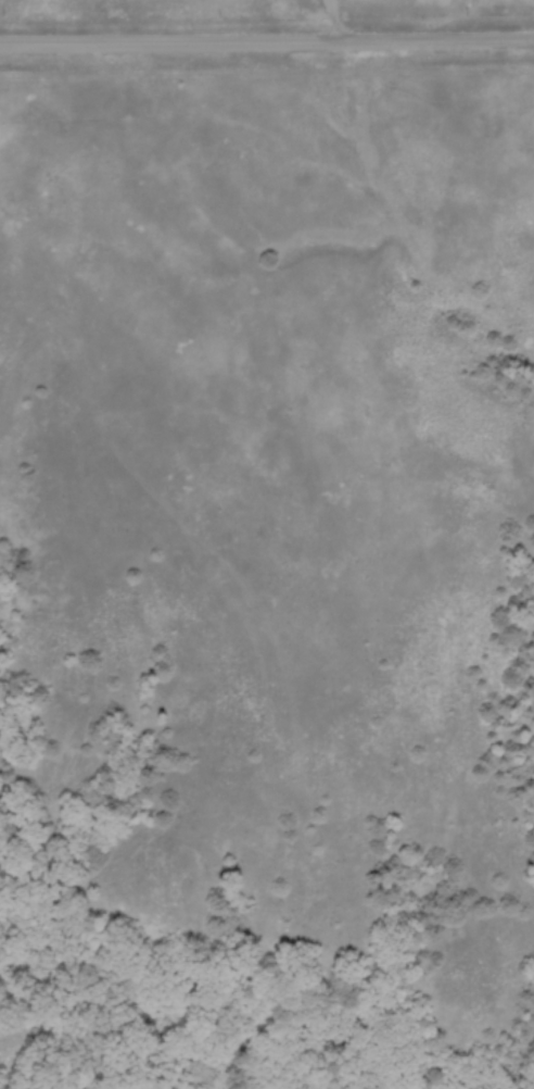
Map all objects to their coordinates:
road: (267, 51)

